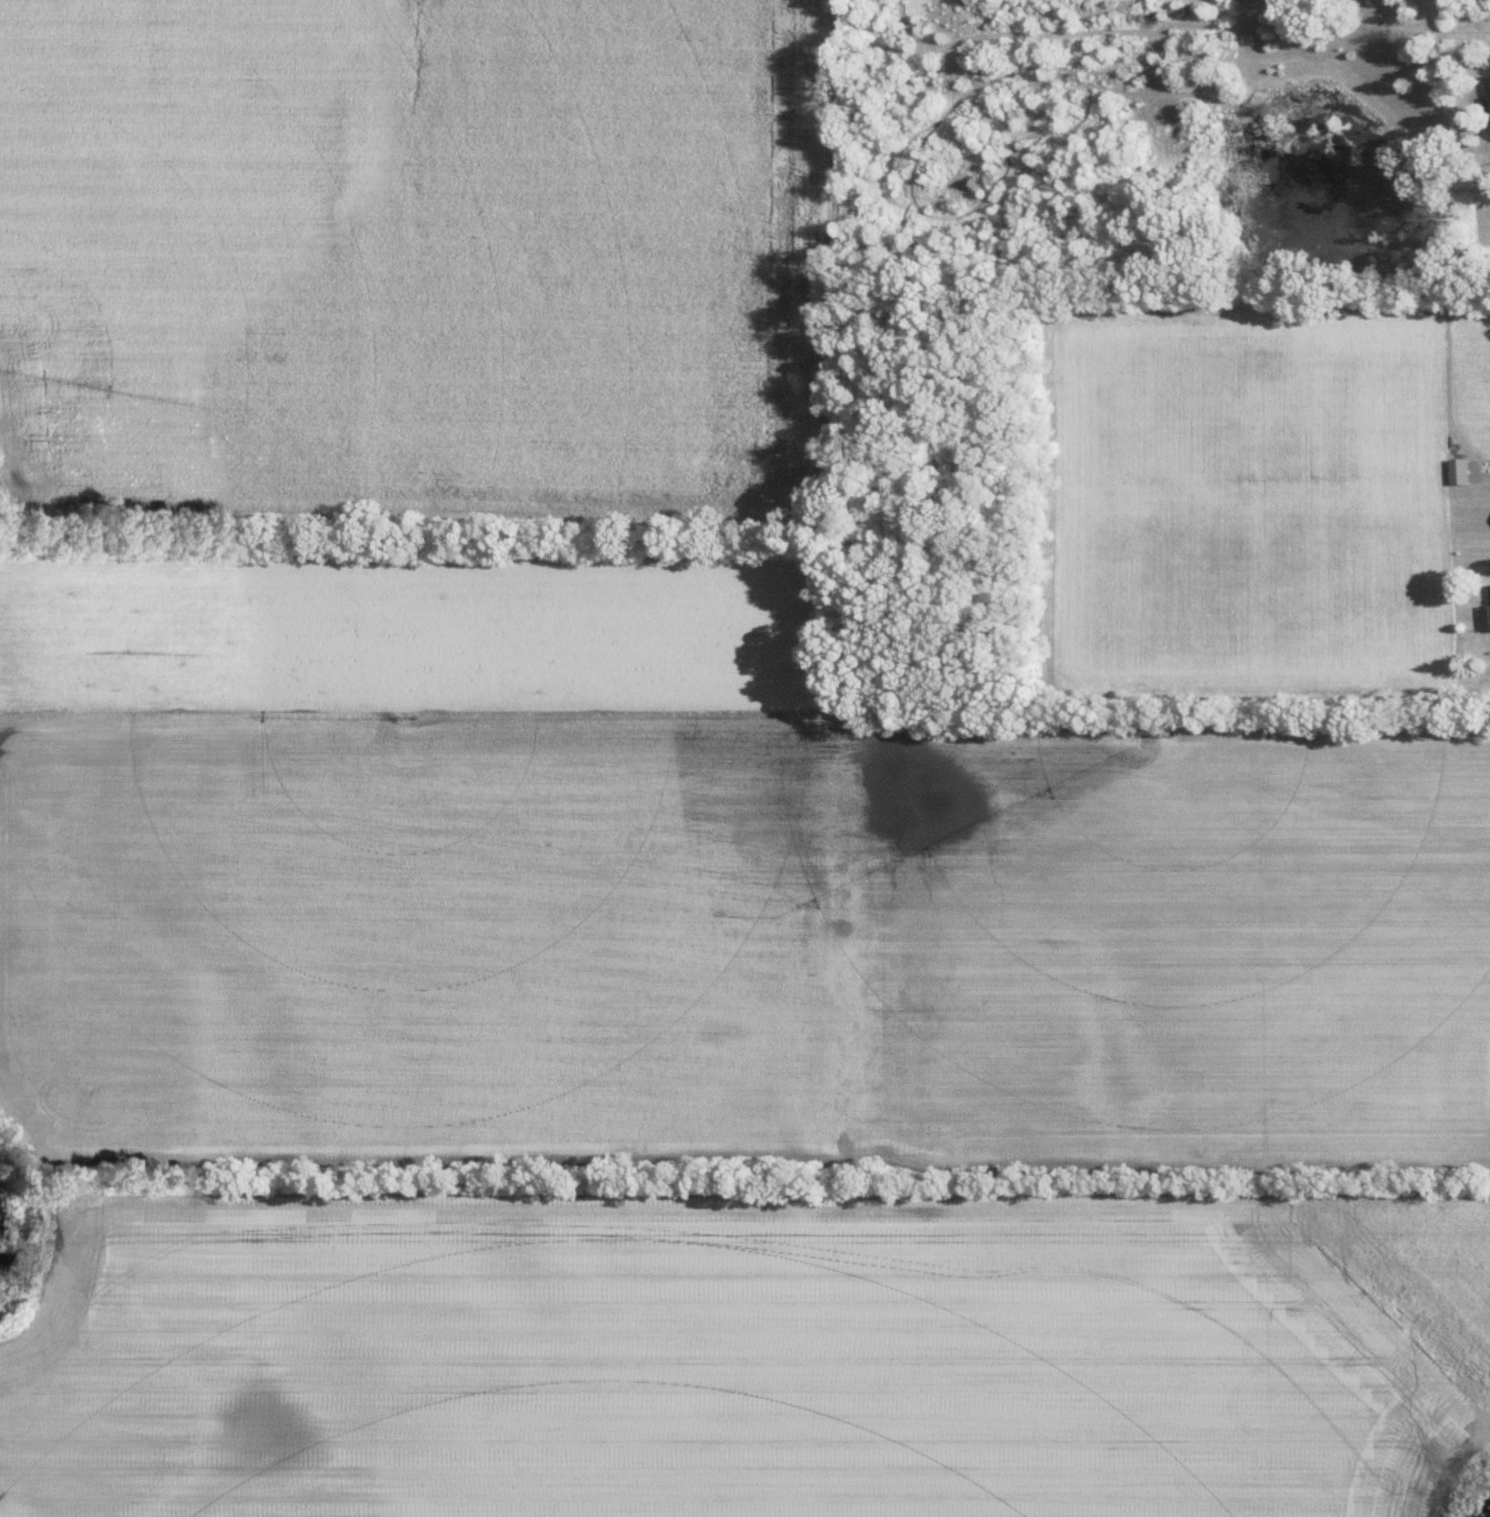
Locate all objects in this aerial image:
building: (1488, 82)
crop: (414, 246)
building: (1459, 469)
crop: (1241, 491)
crop: (414, 640)
crop: (747, 947)

